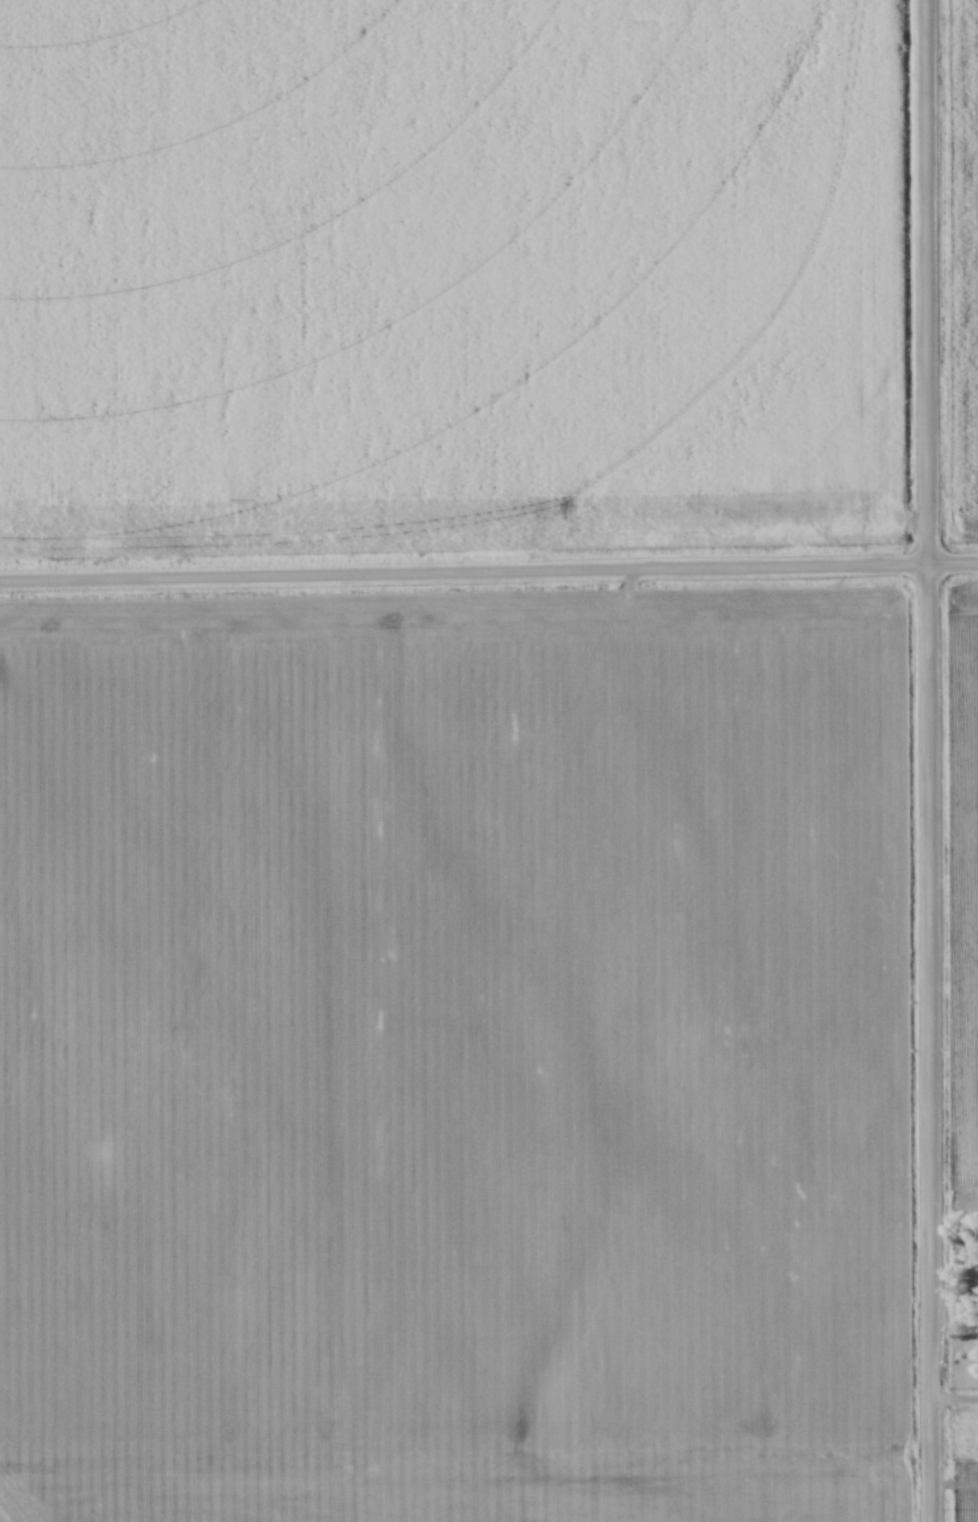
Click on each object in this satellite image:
crop: (964, 267)
crop: (449, 272)
road: (488, 572)
road: (928, 760)
crop: (964, 884)
crop: (451, 1070)
road: (953, 1399)
crop: (964, 1491)

